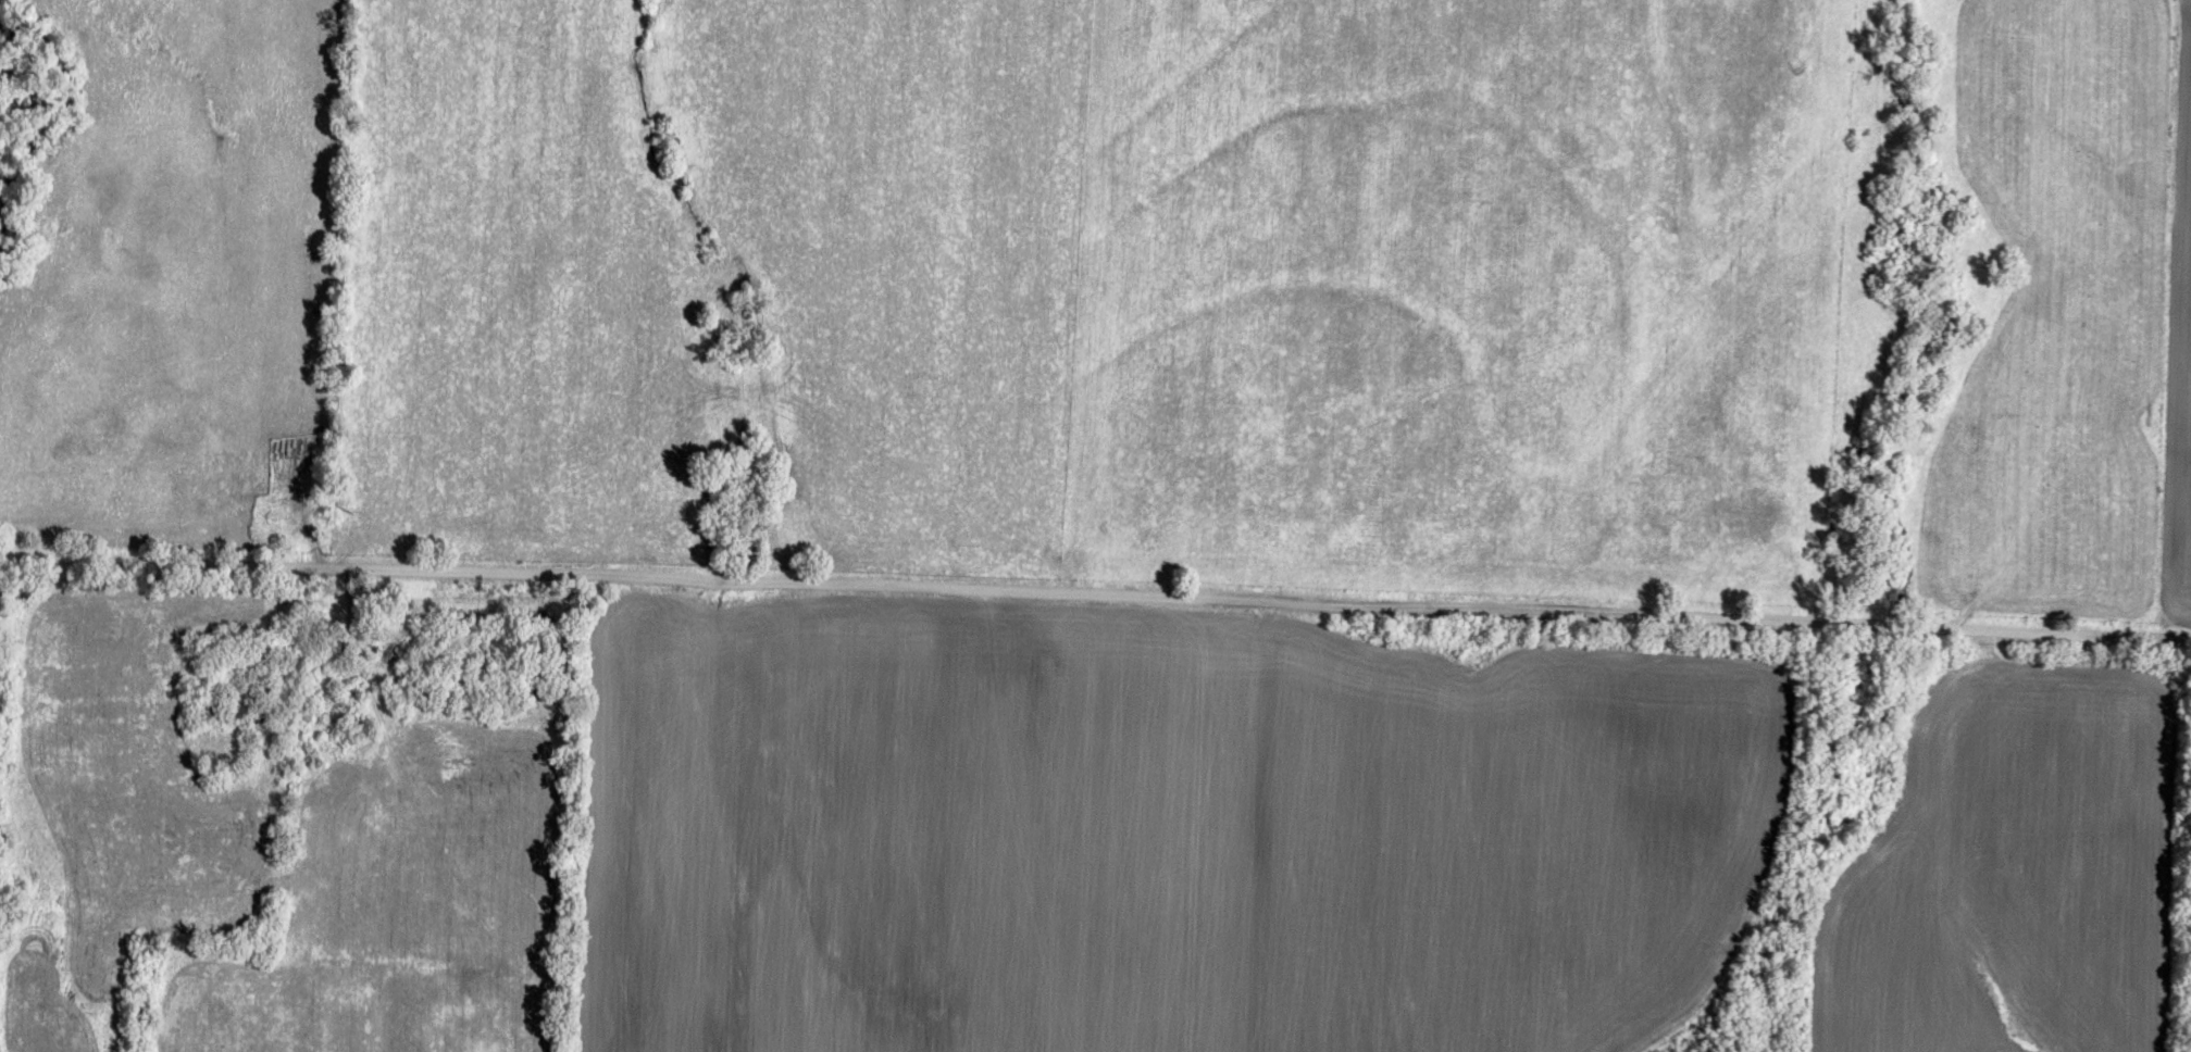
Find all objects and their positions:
road: (1095, 596)

